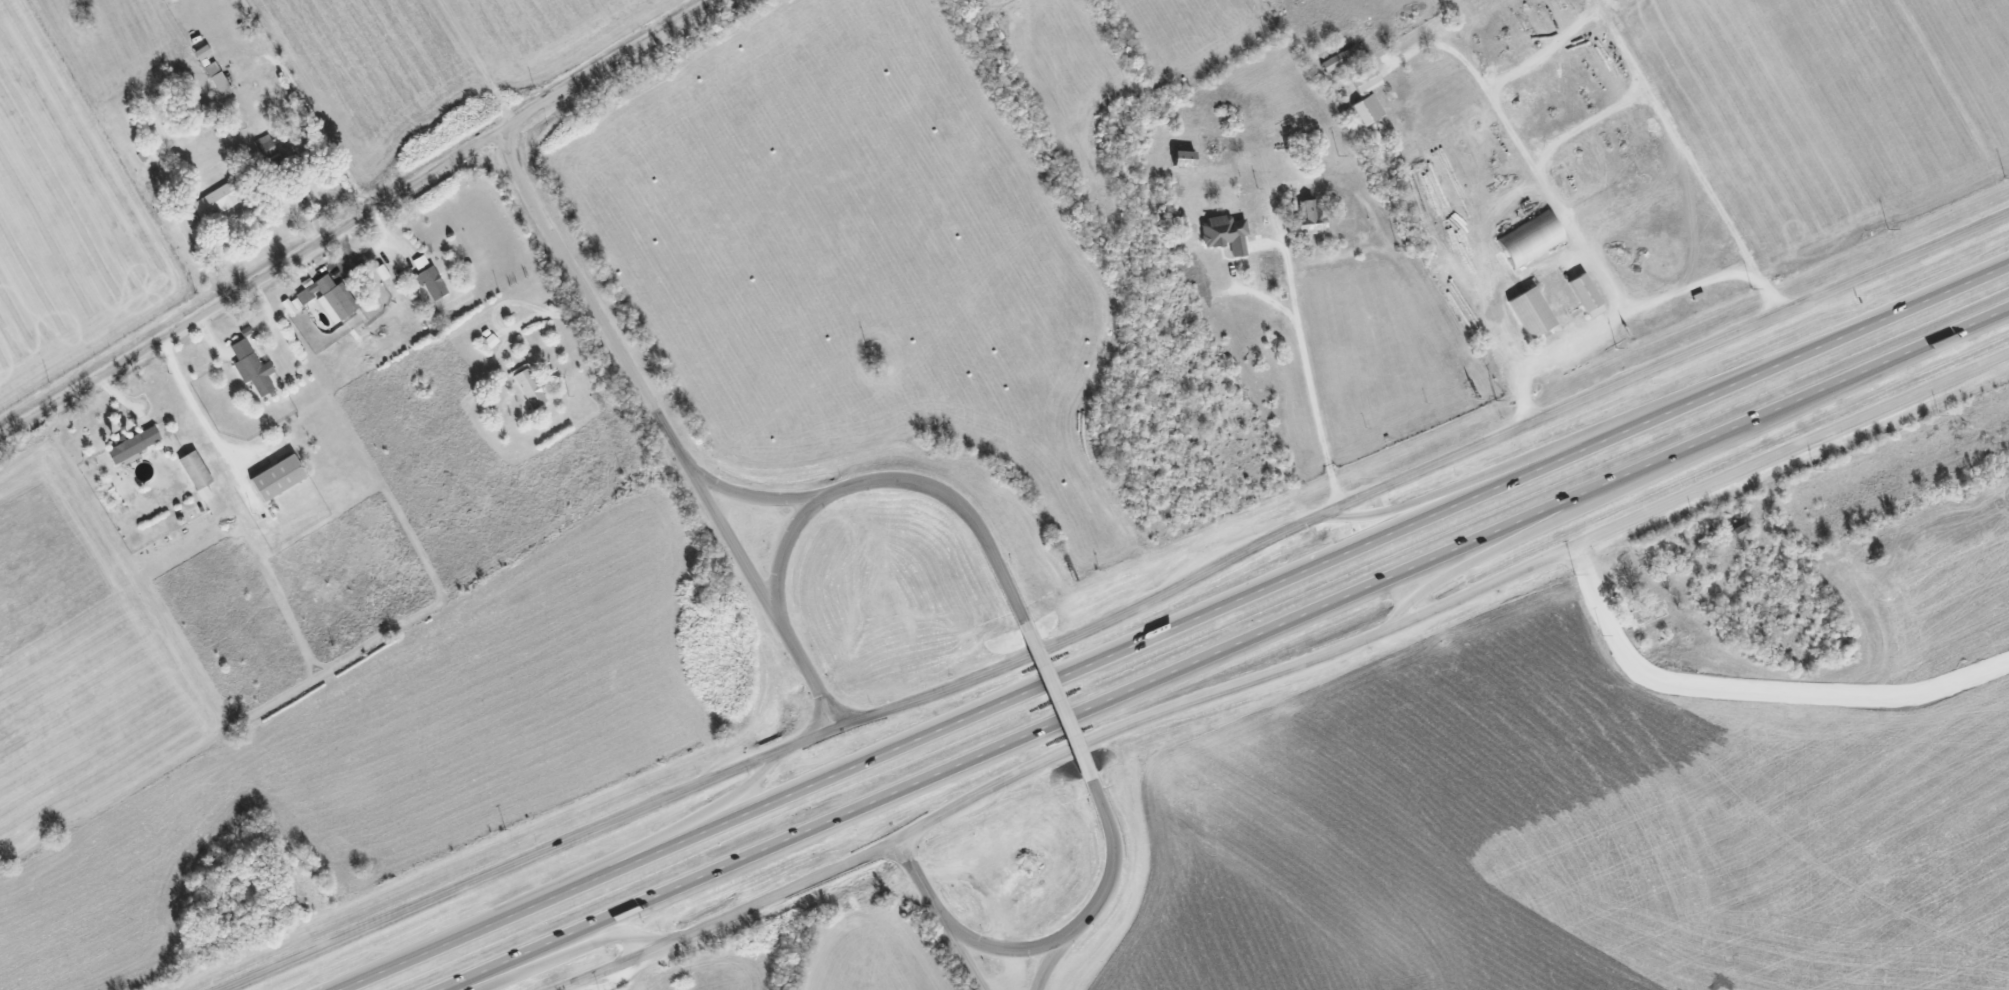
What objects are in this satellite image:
building: (203, 51)
building: (1335, 59)
building: (218, 78)
building: (1366, 96)
road: (323, 135)
road: (1683, 145)
building: (216, 200)
building: (1310, 217)
road: (358, 218)
road: (1566, 224)
building: (1226, 232)
building: (1531, 238)
road: (372, 250)
building: (420, 262)
building: (431, 281)
road: (1704, 286)
building: (1587, 294)
building: (329, 297)
building: (1532, 312)
building: (252, 367)
road: (633, 373)
building: (530, 387)
road: (1311, 390)
road: (1670, 400)
road: (194, 410)
building: (132, 444)
road: (1690, 462)
building: (195, 469)
road: (1424, 471)
building: (278, 477)
road: (754, 496)
road: (960, 504)
road: (784, 546)
road: (1453, 602)
road: (1176, 628)
road: (1228, 651)
road: (807, 672)
road: (1058, 700)
road: (534, 857)
road: (617, 859)
road: (1115, 862)
road: (919, 878)
road: (730, 917)
road: (1001, 950)
road: (963, 953)
road: (572, 954)
road: (1052, 963)

